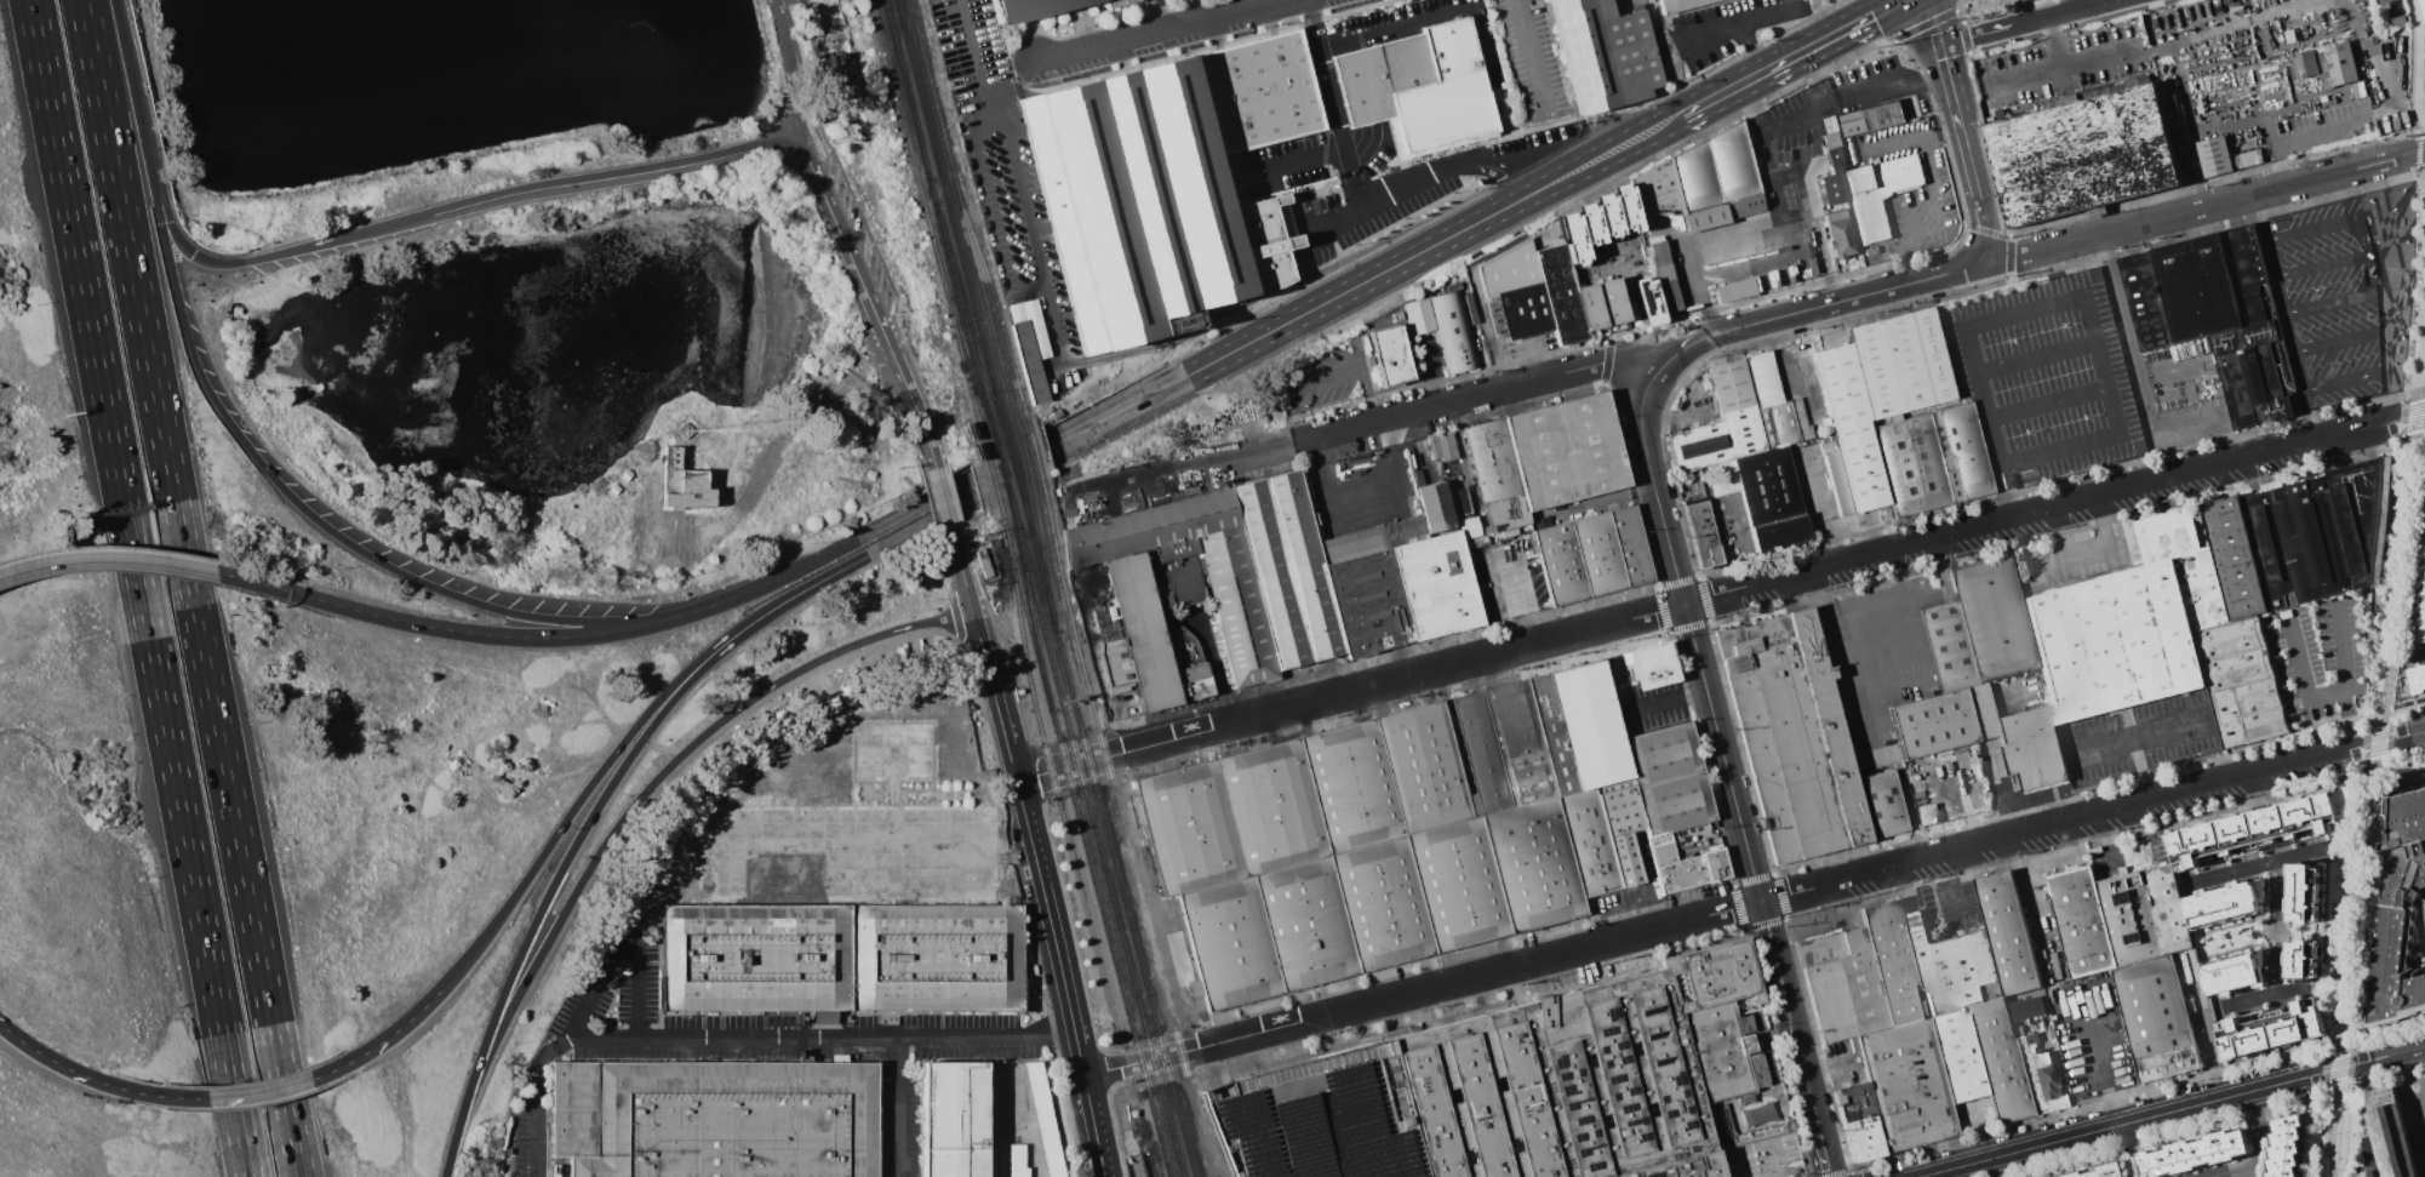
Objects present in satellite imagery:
road: (1628, 0)
building: (2383, 1)
building: (1119, 2)
building: (1686, 6)
building: (2423, 7)
road: (1454, 10)
road: (2066, 10)
building: (1040, 11)
road: (1768, 15)
road: (1156, 16)
road: (1222, 16)
road: (1934, 22)
building: (2392, 22)
road: (1708, 33)
road: (1981, 33)
road: (1832, 36)
road: (2053, 41)
road: (1102, 46)
building: (1451, 48)
road: (1748, 48)
building: (1607, 53)
road: (1532, 55)
road: (1944, 58)
building: (2303, 62)
building: (1406, 63)
building: (2335, 64)
road: (2064, 67)
road: (789, 68)
railway: (899, 69)
railway: (903, 69)
parking lot: (2060, 69)
building: (845, 76)
road: (1754, 78)
road: (1019, 85)
building: (1363, 86)
road: (1875, 87)
building: (1258, 92)
road: (1952, 92)
road: (2415, 93)
park: (464, 97)
road: (1336, 102)
road: (1706, 102)
road: (1752, 105)
road: (50, 108)
building: (1441, 112)
road: (2186, 114)
building: (1870, 118)
road: (1781, 121)
road: (2332, 126)
road: (1940, 135)
railway: (930, 141)
parking lot: (1805, 152)
road: (1765, 154)
building: (2081, 155)
building: (2213, 156)
road: (1299, 158)
building: (2246, 159)
road: (1469, 160)
road: (1812, 160)
road: (1588, 162)
building: (1832, 164)
road: (1969, 165)
road: (2379, 175)
road: (616, 176)
road: (1492, 176)
building: (1701, 181)
road: (2397, 182)
road: (1929, 183)
railway: (930, 184)
road: (1013, 184)
parking lot: (1928, 189)
building: (1876, 193)
road: (1777, 199)
building: (1145, 207)
road: (2203, 207)
railway: (962, 217)
building: (1597, 221)
railway: (927, 224)
road: (1750, 225)
road: (836, 228)
road: (2304, 229)
building: (1837, 234)
road: (2360, 234)
road: (1985, 236)
road: (1818, 238)
road: (184, 247)
road: (2321, 265)
building: (1663, 275)
road: (1348, 288)
road: (1700, 288)
building: (1733, 290)
building: (1512, 292)
road: (2278, 292)
building: (1560, 293)
road: (1630, 293)
road: (2082, 296)
road: (1851, 298)
building: (1612, 299)
building: (1647, 299)
railway: (994, 301)
parking lot: (2324, 301)
road: (2328, 301)
building: (1589, 305)
building: (2214, 315)
building: (1442, 326)
road: (2128, 331)
railway: (972, 336)
road: (1706, 337)
railway: (968, 338)
road: (1654, 342)
road: (2335, 343)
railway: (959, 347)
road: (1676, 352)
building: (1389, 355)
road: (1535, 358)
road: (2034, 358)
railway: (986, 361)
building: (1029, 361)
building: (1899, 362)
road: (1494, 365)
road: (1634, 368)
road: (1436, 370)
road: (2419, 370)
road: (1202, 371)
road: (1329, 372)
road: (1652, 375)
parking lot: (1327, 377)
parking lot: (2042, 377)
building: (1762, 378)
road: (1525, 382)
road: (2341, 382)
road: (908, 392)
road: (2047, 406)
road: (2393, 406)
building: (1735, 407)
road: (2210, 415)
road: (2309, 416)
road: (2298, 418)
building: (1798, 419)
road: (1363, 423)
building: (1775, 424)
building: (1849, 424)
road: (1642, 438)
building: (1441, 446)
building: (1698, 446)
road: (1019, 451)
road: (774, 452)
railway: (1010, 456)
railway: (1034, 456)
railway: (1011, 457)
building: (1543, 457)
building: (1932, 458)
railway: (1024, 461)
road: (1029, 469)
railway: (1002, 472)
road: (1184, 472)
building: (625, 474)
road: (2007, 476)
railway: (991, 478)
building: (1835, 478)
road: (1996, 480)
railway: (1017, 482)
building: (685, 484)
road: (280, 486)
building: (613, 488)
building: (1769, 498)
railway: (1010, 501)
road: (943, 502)
road: (2008, 505)
road: (1820, 507)
building: (1468, 526)
building: (2315, 532)
building: (1701, 533)
parking lot: (679, 538)
road: (2092, 552)
building: (1591, 554)
building: (2232, 556)
road: (127, 559)
railway: (1042, 559)
road: (811, 560)
building: (2183, 561)
building: (982, 562)
parking lot: (1505, 572)
road: (1771, 577)
building: (2424, 579)
building: (1266, 584)
road: (191, 588)
building: (2424, 595)
road: (1517, 599)
railway: (1024, 607)
railway: (1031, 607)
building: (1991, 618)
road: (1838, 624)
building: (2423, 624)
road: (509, 636)
building: (2112, 640)
road: (1881, 642)
building: (1948, 646)
road: (2420, 656)
building: (1651, 664)
road: (2339, 675)
road: (2299, 676)
road: (1891, 679)
building: (2240, 679)
building: (2418, 680)
road: (159, 696)
road: (1668, 699)
parking lot: (1651, 707)
building: (1941, 721)
road: (2135, 735)
building: (1791, 736)
road: (622, 742)
building: (2030, 749)
road: (1068, 766)
road: (2138, 769)
railway: (1051, 778)
road: (2253, 793)
road: (2373, 798)
road: (1737, 801)
building: (1880, 802)
road: (625, 813)
building: (1926, 813)
railway: (1119, 815)
road: (589, 817)
building: (2259, 829)
road: (2261, 829)
building: (1419, 832)
railway: (1105, 834)
railway: (1096, 840)
road: (1034, 855)
road: (1801, 891)
building: (2303, 892)
road: (1968, 896)
building: (2220, 904)
building: (2166, 909)
building: (2400, 918)
building: (2128, 919)
building: (2078, 921)
road: (2274, 925)
building: (2006, 931)
railway: (1109, 943)
building: (836, 955)
building: (1892, 959)
building: (2301, 960)
building: (1951, 966)
building: (2230, 971)
building: (1841, 983)
building: (2025, 1007)
building: (2155, 1018)
road: (579, 1019)
road: (2281, 1024)
building: (2270, 1027)
building: (2015, 1029)
road: (396, 1030)
road: (818, 1035)
building: (1955, 1055)
road: (2383, 1057)
building: (1998, 1058)
road: (2290, 1061)
road: (1131, 1063)
road: (75, 1072)
building: (2027, 1075)
building: (2042, 1075)
road: (2101, 1079)
building: (1904, 1082)
building: (1520, 1085)
road: (258, 1092)
building: (1853, 1101)
road: (898, 1105)
road: (2418, 1112)
building: (714, 1119)
building: (953, 1119)
parking lot: (2410, 1119)
building: (1045, 1120)
road: (2129, 1121)
road: (2263, 1132)
road: (1971, 1135)
building: (1863, 1138)
building: (2386, 1138)
park: (2341, 1141)
road: (1757, 1143)
road: (1825, 1145)
building: (2281, 1145)
building: (2185, 1153)
building: (1016, 1161)
building: (2083, 1171)
road: (2235, 1171)

